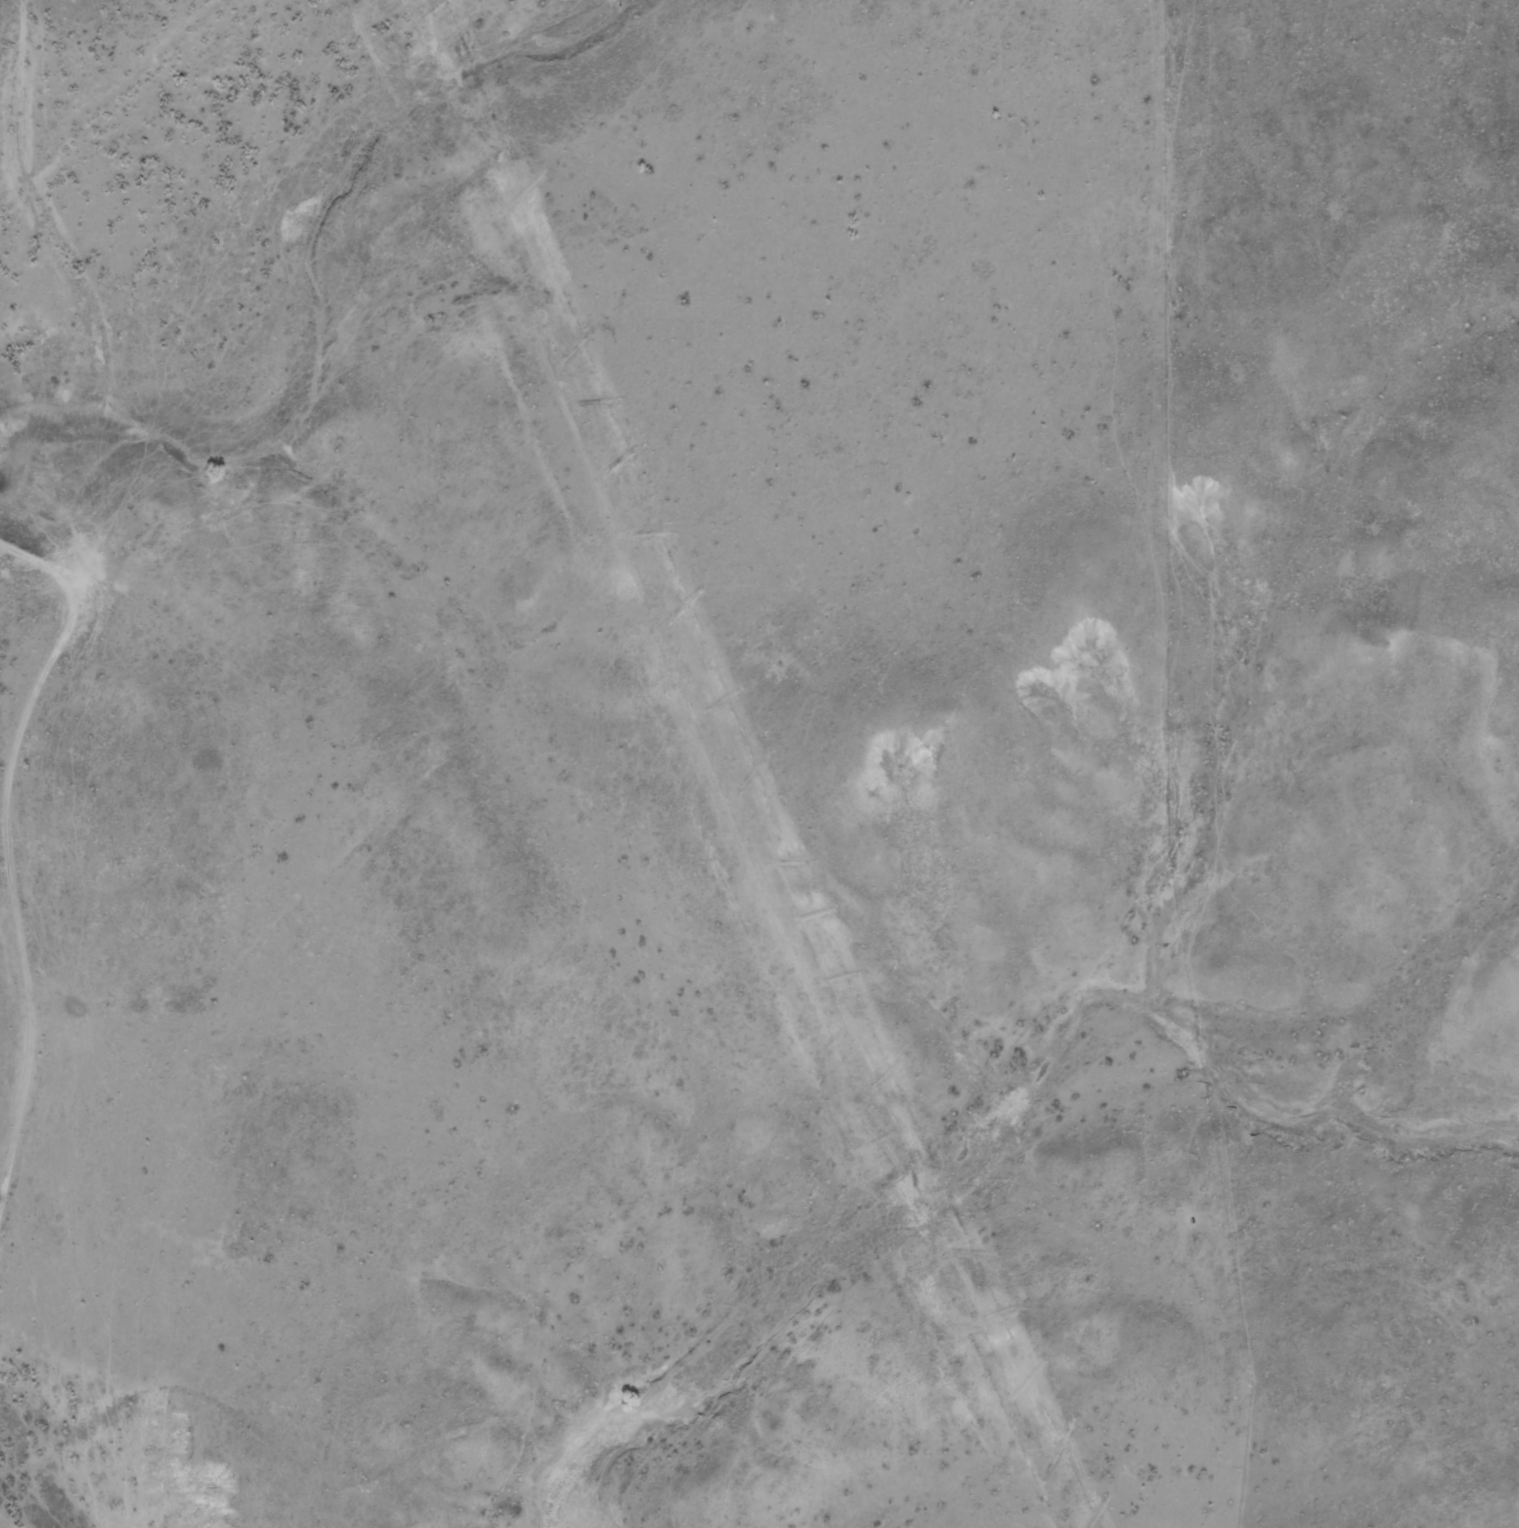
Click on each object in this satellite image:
road: (52, 380)
road: (674, 485)
road: (316, 1487)

